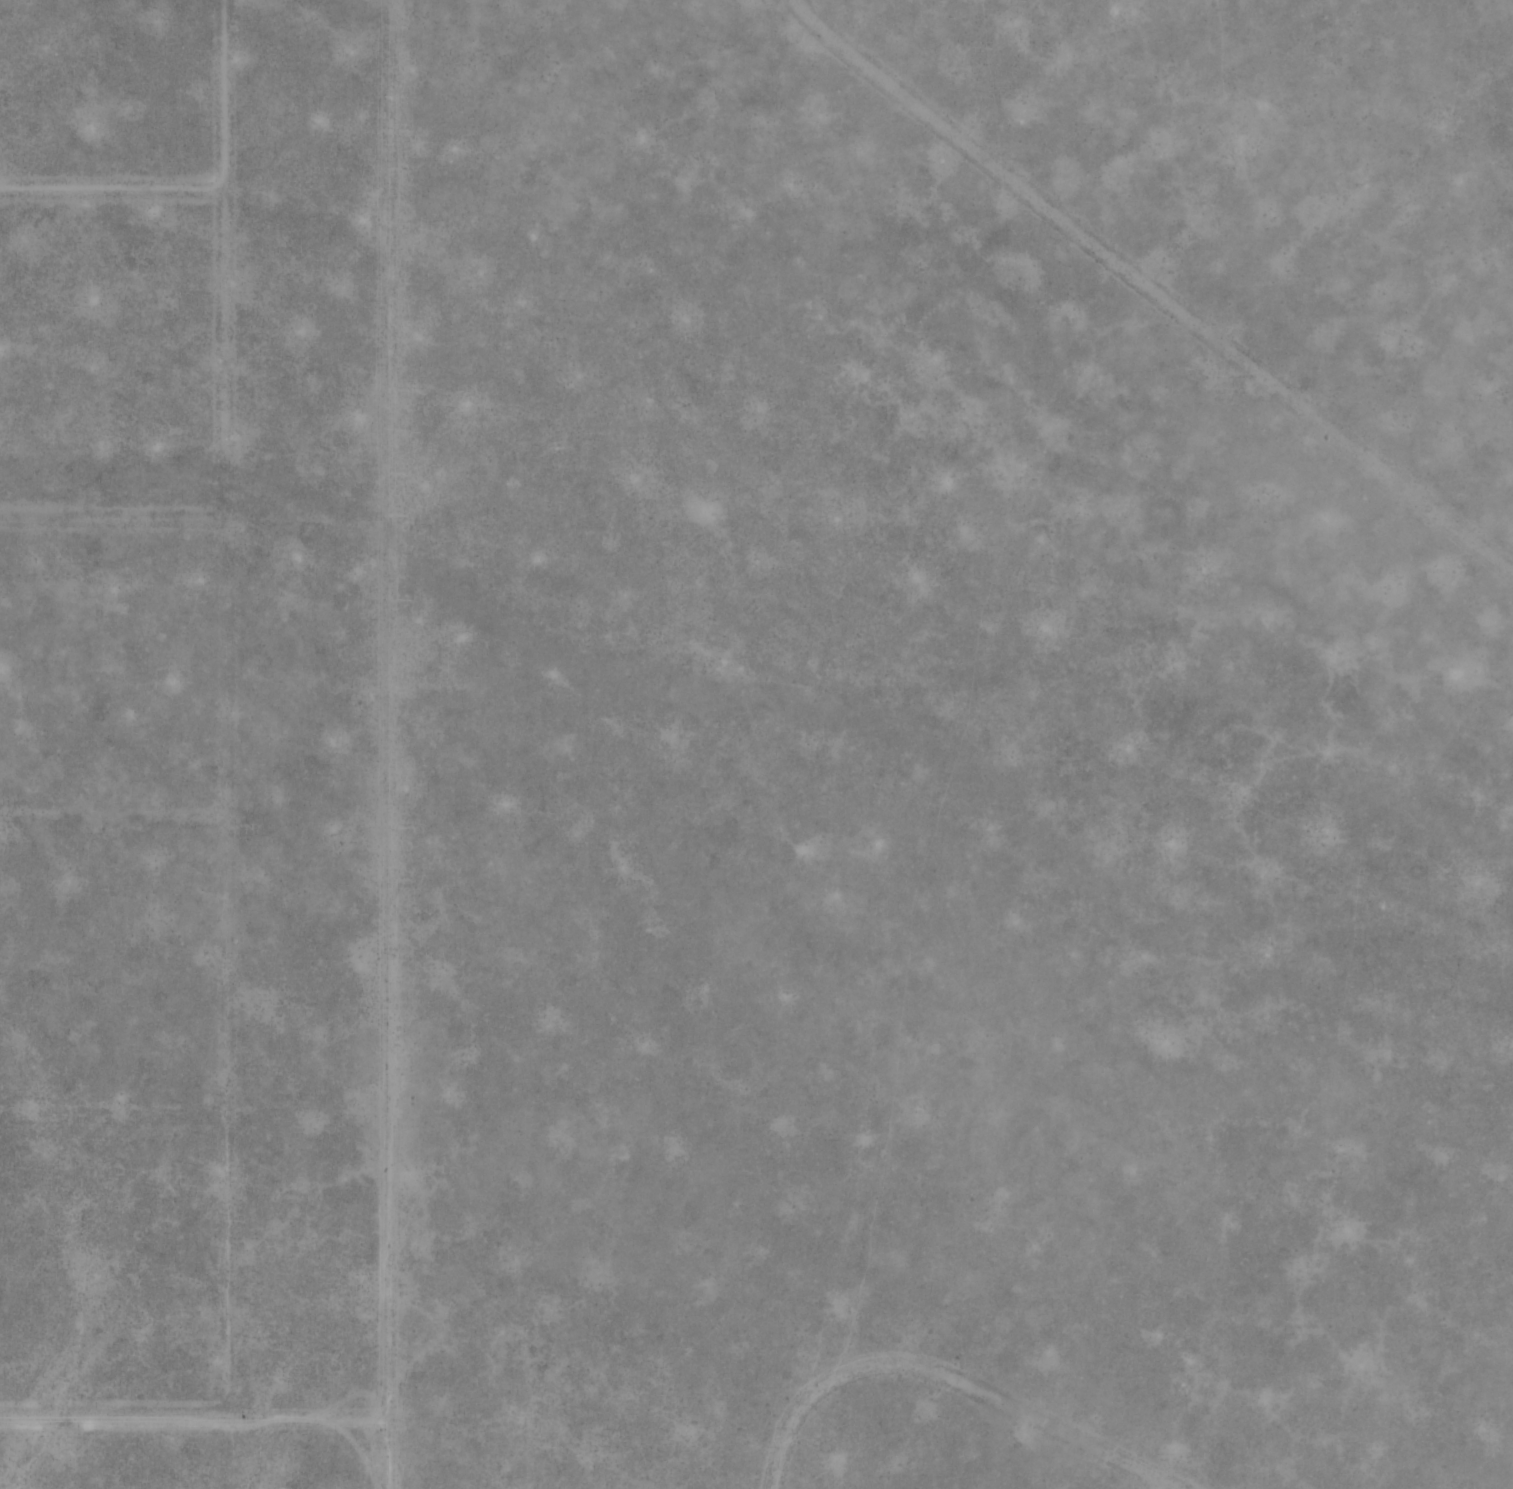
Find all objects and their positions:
road: (396, 744)
road: (975, 1362)
road: (198, 1423)

